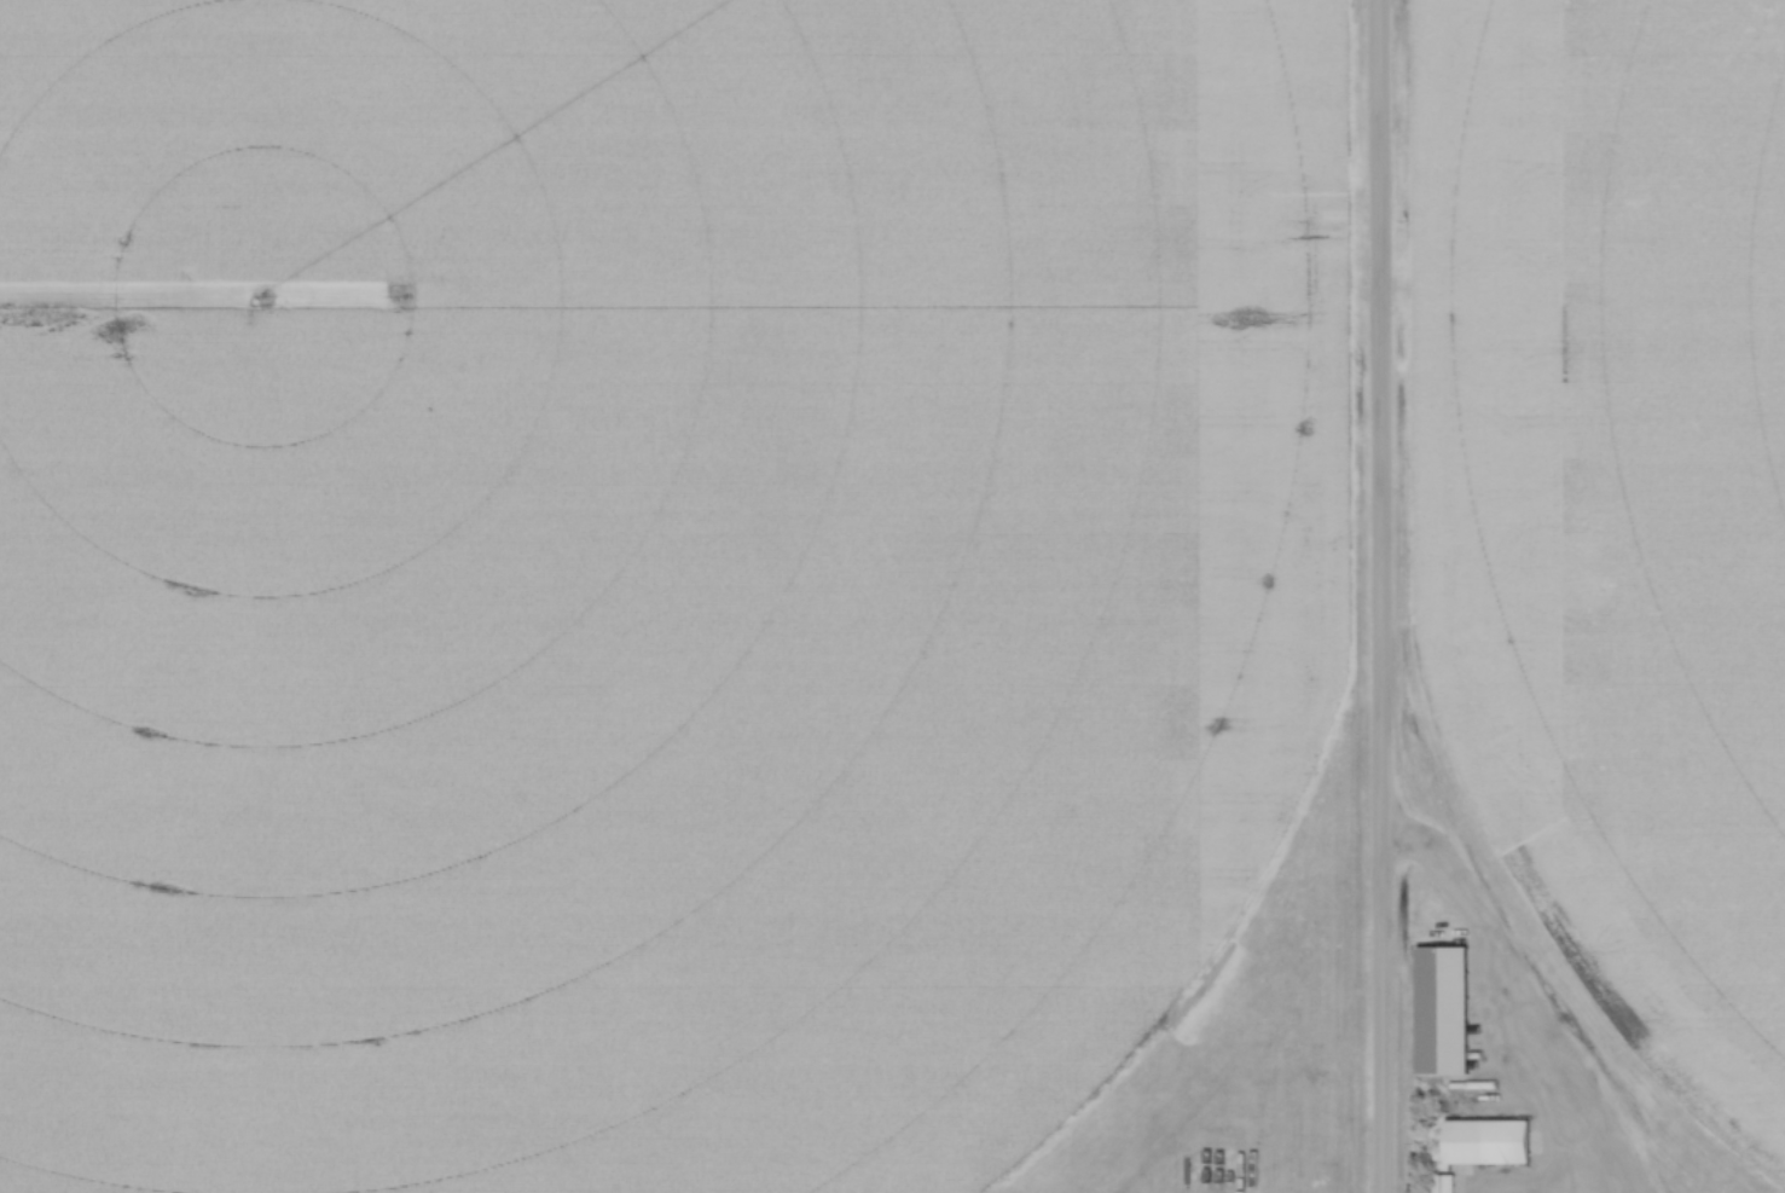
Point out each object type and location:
road: (1384, 596)
road: (1520, 1006)
building: (1438, 1007)
building: (1483, 1141)
building: (1444, 1185)

